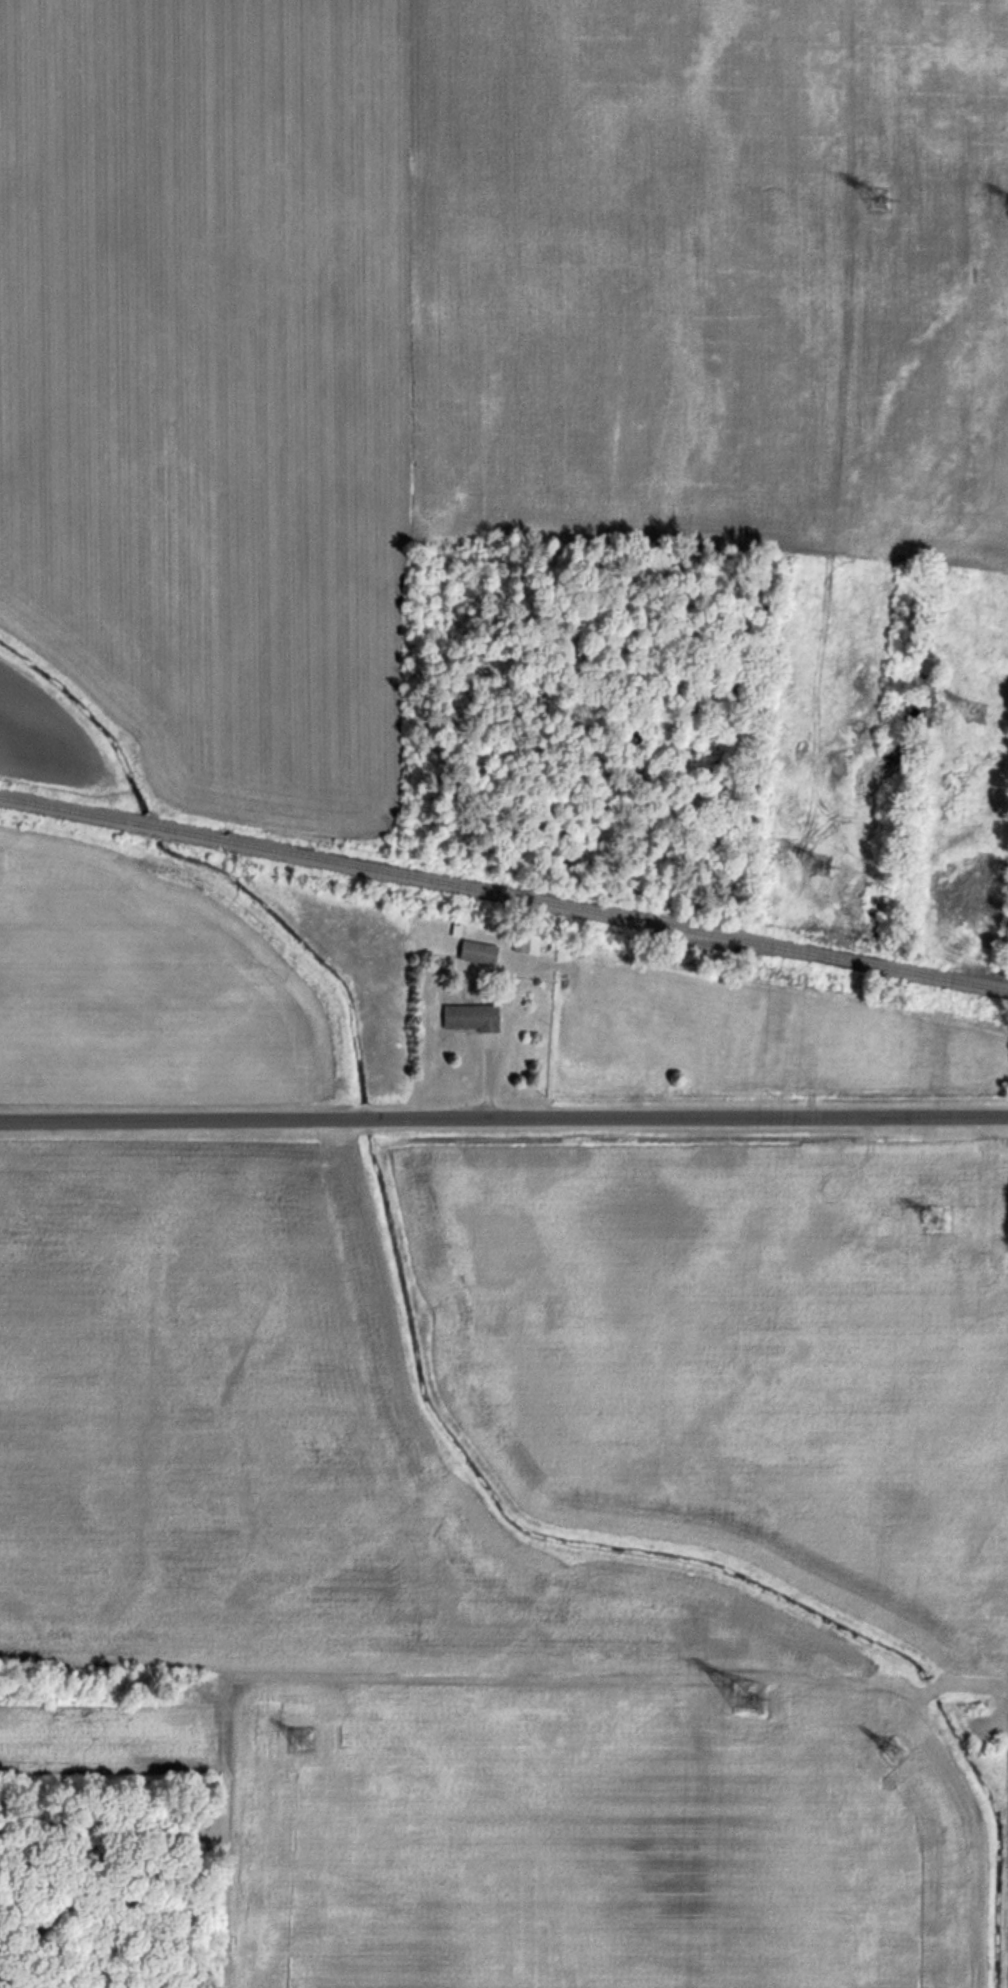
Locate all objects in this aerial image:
power tower: (873, 200)
power tower: (976, 708)
power tower: (816, 867)
railway: (504, 893)
building: (476, 952)
building: (467, 1017)
road: (504, 1121)
power tower: (927, 1219)
road: (622, 1680)
power tower: (743, 1697)
power tower: (297, 1741)
power tower: (879, 1755)

